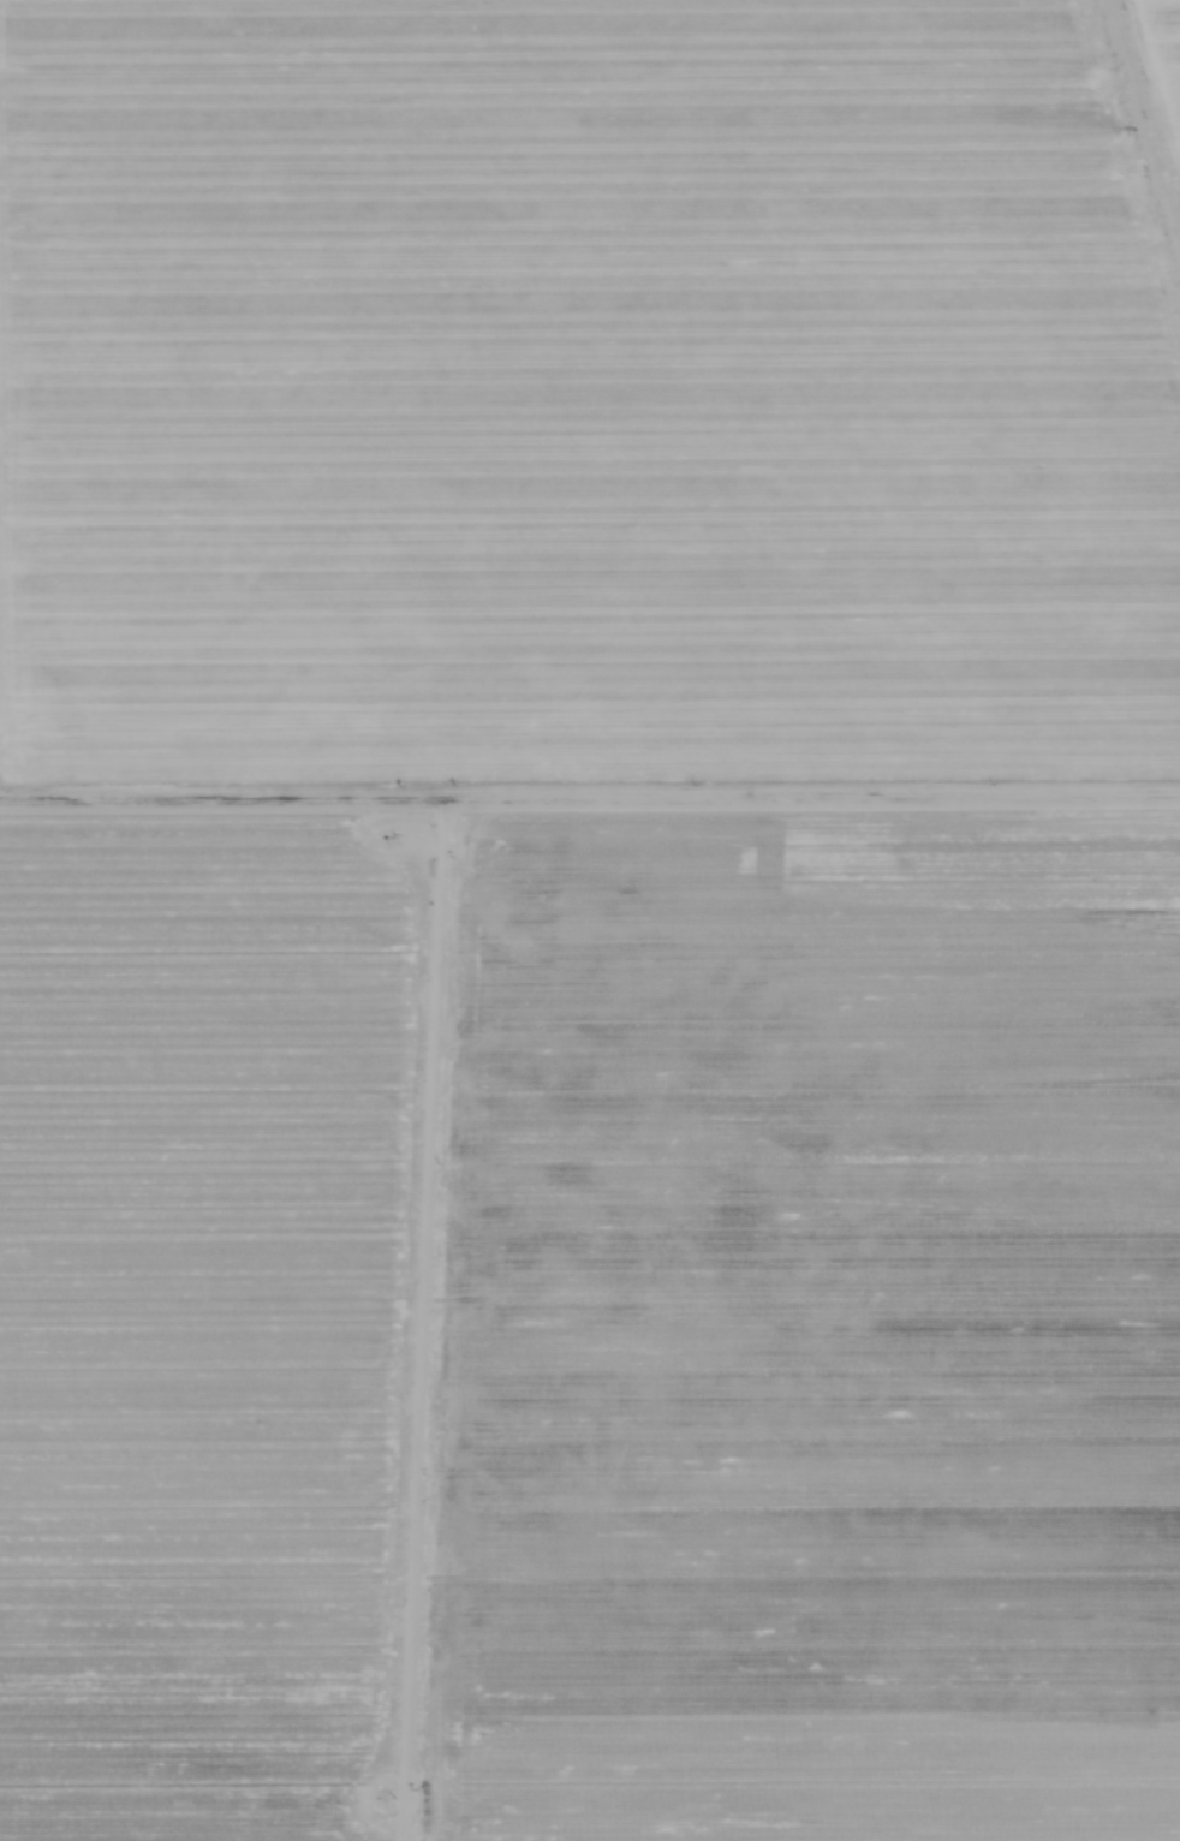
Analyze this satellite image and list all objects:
road: (1167, 88)
road: (244, 799)
crop: (590, 920)
road: (464, 969)

